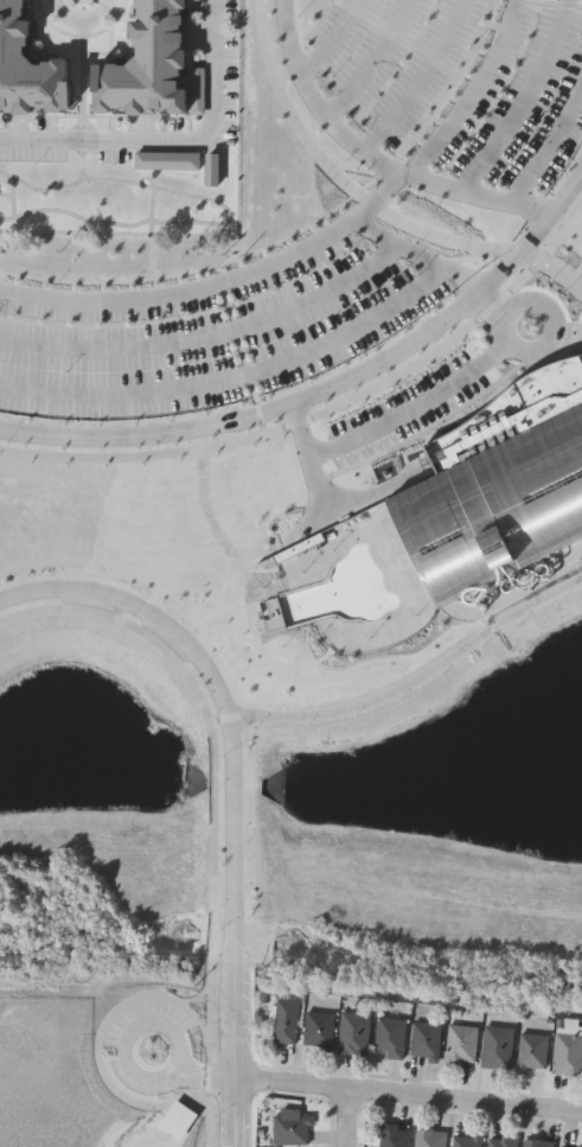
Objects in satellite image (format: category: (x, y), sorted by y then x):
road: (328, 38)
building: (156, 64)
building: (27, 65)
parking lot: (462, 82)
road: (170, 136)
road: (549, 147)
road: (375, 155)
road: (421, 251)
road: (551, 272)
road: (217, 280)
road: (505, 310)
parking lot: (210, 330)
road: (556, 330)
road: (330, 387)
road: (397, 416)
water park: (503, 482)
road: (234, 752)
building: (57, 1017)
building: (286, 1022)
building: (318, 1028)
building: (353, 1033)
building: (390, 1037)
building: (426, 1039)
building: (461, 1045)
building: (497, 1047)
building: (568, 1047)
building: (533, 1052)
road: (172, 1072)
road: (205, 1077)
road: (411, 1094)
road: (242, 1113)
road: (356, 1117)
building: (292, 1130)
building: (394, 1136)
building: (430, 1139)
building: (466, 1140)
building: (503, 1141)
building: (538, 1143)
building: (570, 1145)

